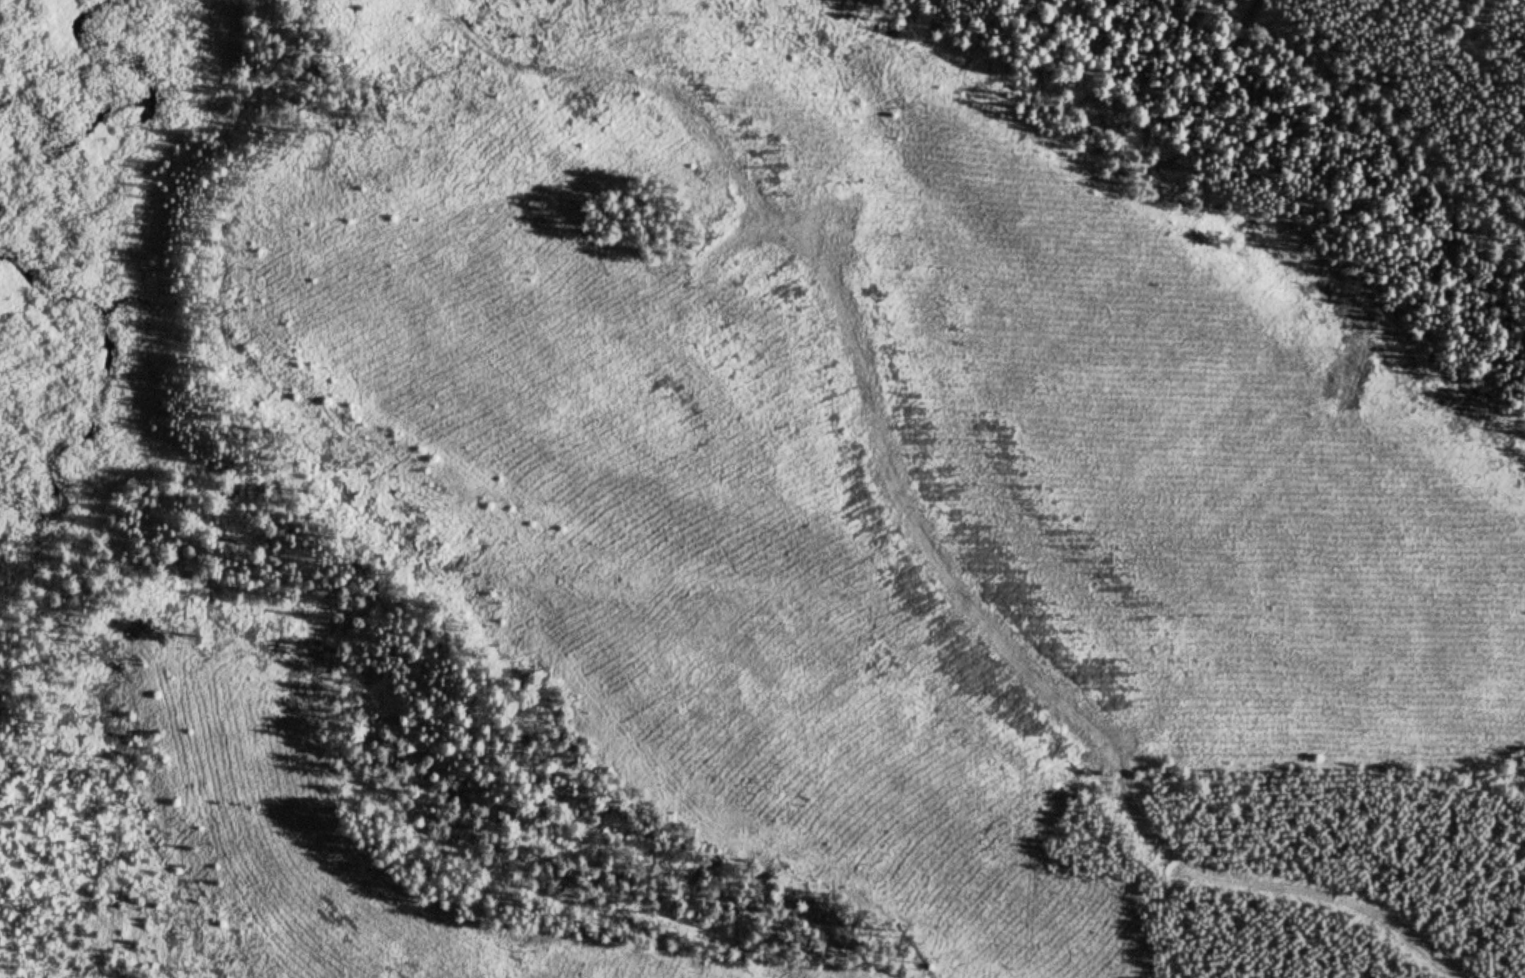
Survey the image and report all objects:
river: (118, 101)
river: (83, 407)
road: (1269, 884)

